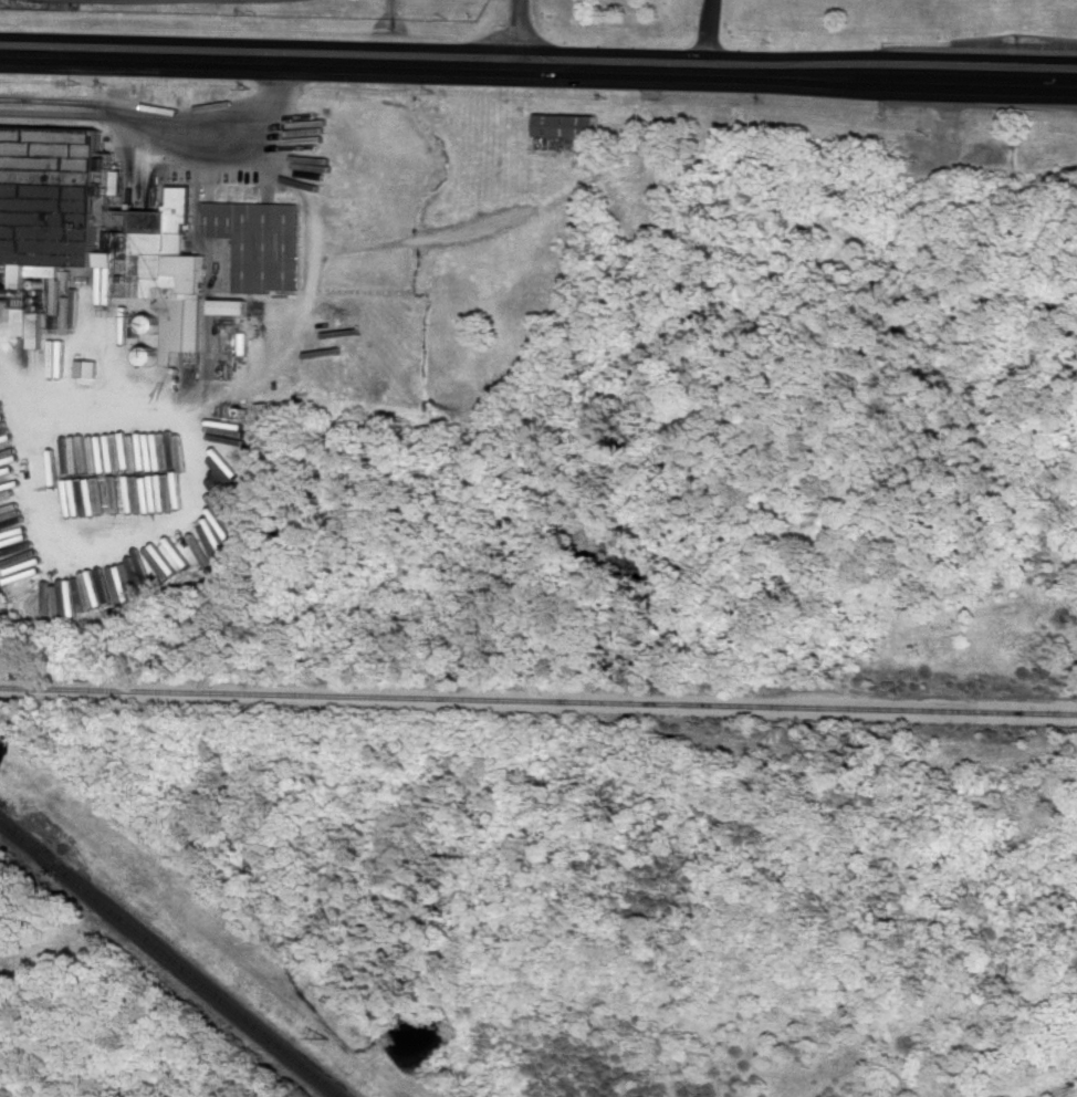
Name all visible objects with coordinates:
road: (516, 33)
road: (700, 35)
road: (538, 67)
building: (566, 123)
road: (170, 126)
building: (94, 221)
building: (261, 241)
building: (231, 304)
building: (31, 323)
railway: (538, 699)
railway: (168, 955)

